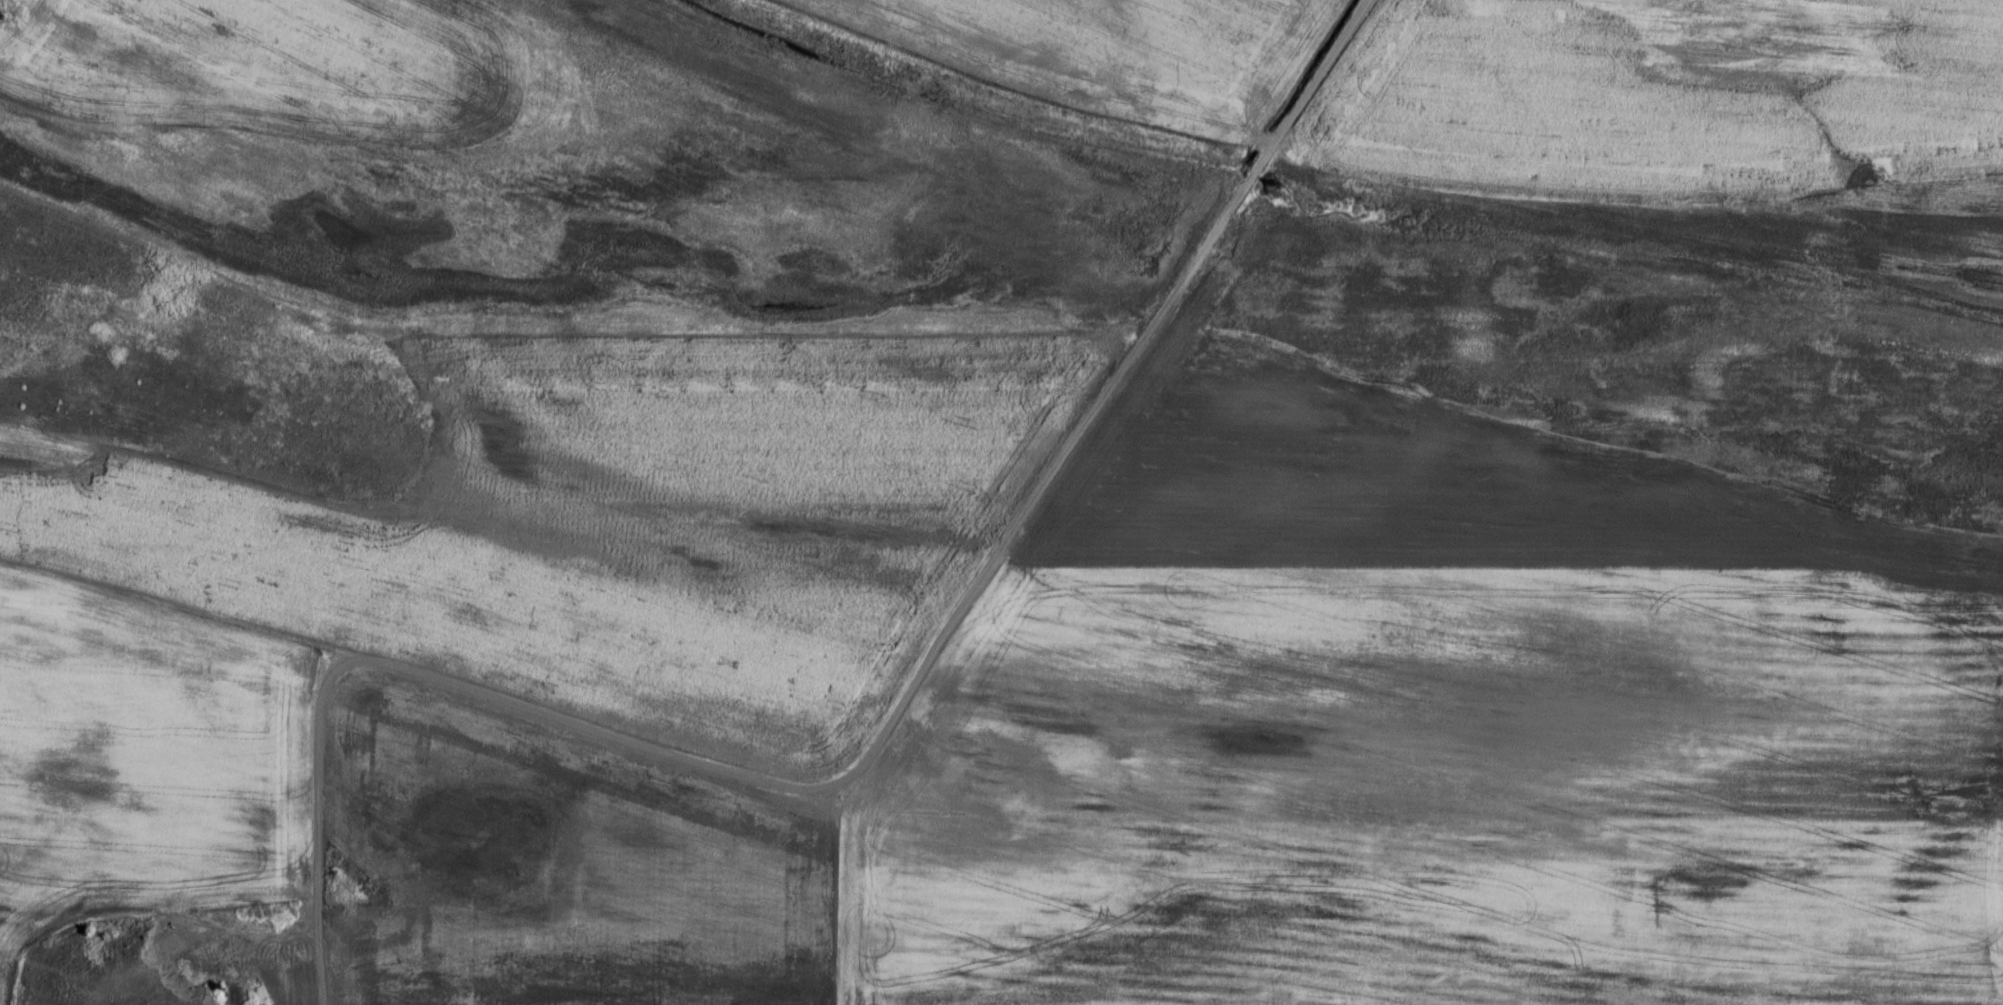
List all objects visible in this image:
road: (864, 755)
road: (392, 813)
road: (323, 823)
road: (140, 919)

